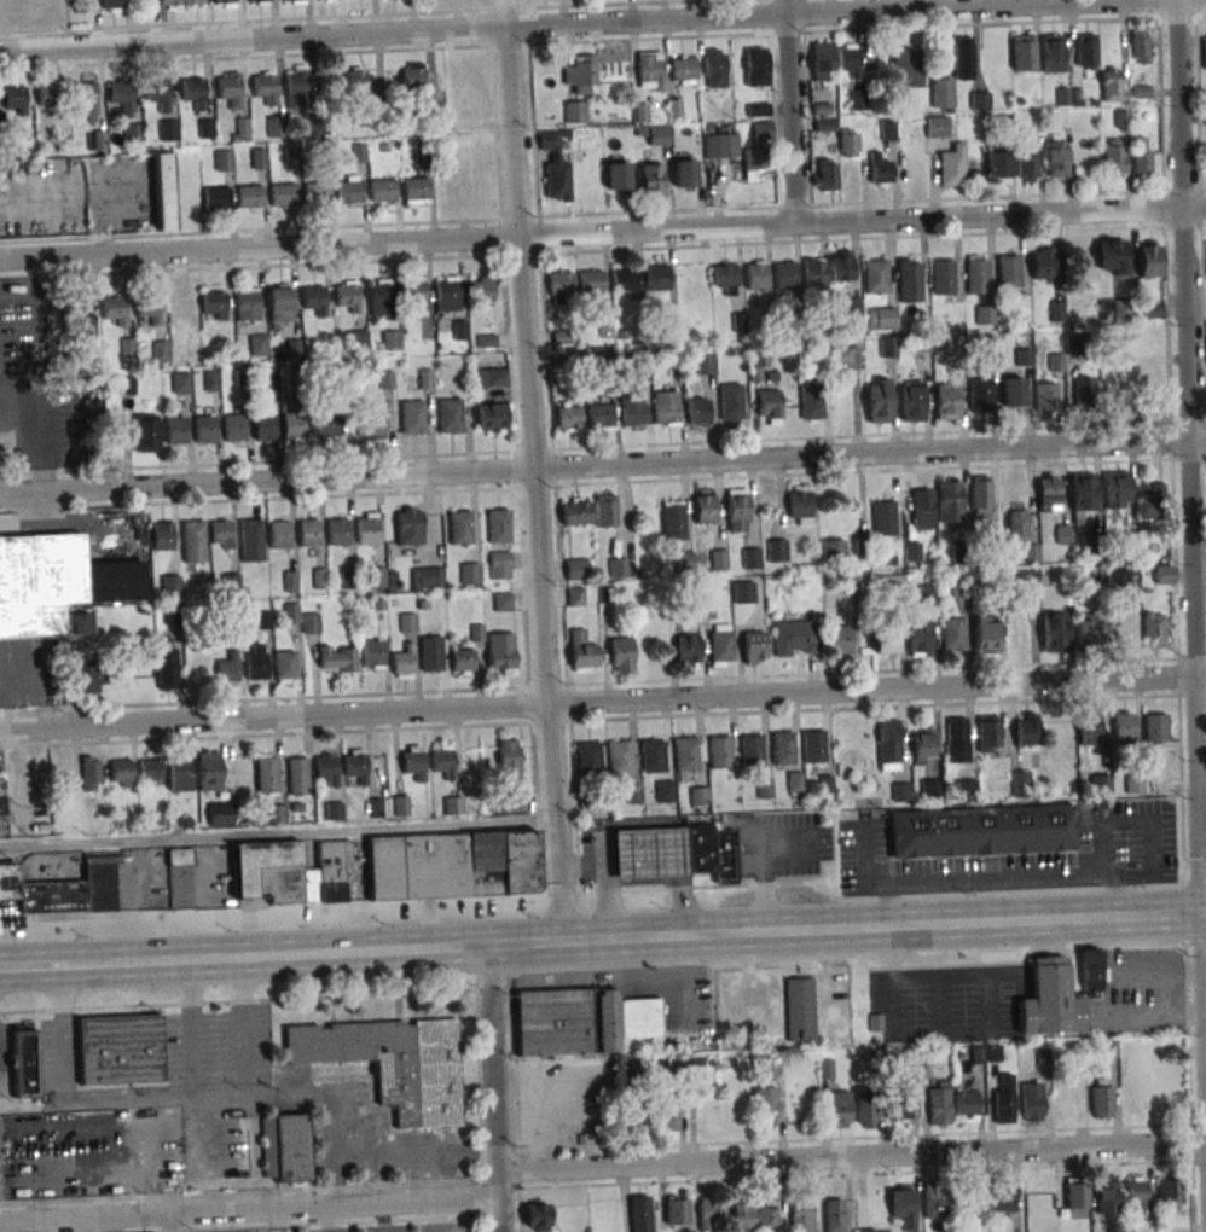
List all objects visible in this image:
building: (193, 2)
building: (224, 2)
building: (257, 2)
building: (292, 2)
building: (111, 5)
building: (169, 5)
road: (587, 23)
building: (1140, 46)
building: (1085, 50)
building: (1022, 52)
building: (1204, 52)
building: (1051, 53)
building: (963, 57)
building: (848, 60)
building: (823, 62)
building: (756, 66)
building: (906, 66)
building: (715, 68)
building: (684, 69)
building: (650, 70)
building: (581, 74)
building: (413, 76)
building: (1113, 77)
building: (358, 80)
building: (265, 86)
building: (230, 87)
building: (296, 88)
building: (193, 91)
building: (941, 92)
building: (157, 93)
building: (47, 95)
building: (122, 95)
building: (470, 95)
building: (87, 97)
building: (15, 99)
building: (857, 99)
building: (980, 99)
road: (790, 110)
building: (574, 111)
building: (274, 126)
building: (937, 126)
building: (205, 128)
building: (167, 129)
building: (239, 129)
building: (132, 133)
building: (659, 135)
building: (97, 139)
building: (848, 143)
building: (721, 146)
building: (1140, 153)
building: (1055, 155)
building: (1113, 157)
building: (222, 161)
building: (952, 165)
building: (1027, 165)
building: (997, 167)
building: (555, 168)
building: (880, 169)
building: (684, 170)
building: (618, 173)
building: (824, 174)
building: (651, 179)
building: (349, 190)
building: (383, 190)
building: (162, 191)
building: (416, 191)
building: (317, 193)
building: (249, 196)
building: (283, 196)
building: (215, 197)
road: (602, 232)
building: (1111, 256)
building: (1149, 258)
building: (1042, 262)
building: (841, 265)
building: (1008, 271)
building: (814, 273)
building: (787, 274)
building: (976, 274)
building: (756, 275)
building: (876, 275)
building: (656, 277)
building: (943, 277)
building: (726, 278)
building: (625, 279)
building: (909, 279)
building: (592, 283)
building: (561, 284)
building: (481, 289)
building: (414, 294)
building: (348, 295)
building: (447, 295)
building: (315, 298)
building: (379, 298)
building: (280, 303)
building: (180, 304)
building: (214, 304)
building: (247, 304)
building: (852, 306)
building: (147, 308)
building: (115, 309)
building: (1148, 309)
building: (1119, 310)
building: (984, 314)
building: (85, 318)
building: (882, 318)
building: (257, 344)
building: (888, 347)
building: (161, 350)
building: (845, 358)
building: (759, 359)
building: (707, 364)
building: (493, 377)
building: (267, 379)
building: (211, 380)
building: (180, 382)
building: (127, 385)
building: (1011, 391)
building: (1083, 391)
building: (980, 394)
building: (1045, 396)
building: (879, 400)
building: (911, 401)
building: (946, 401)
building: (730, 402)
building: (812, 402)
building: (769, 406)
building: (667, 407)
building: (633, 411)
building: (697, 411)
building: (450, 415)
building: (569, 415)
building: (599, 415)
building: (412, 417)
building: (491, 417)
building: (292, 425)
building: (370, 425)
building: (263, 426)
building: (324, 426)
building: (205, 428)
building: (234, 428)
building: (176, 430)
building: (145, 431)
road: (30, 440)
road: (602, 463)
road: (537, 470)
building: (1117, 489)
building: (1048, 492)
building: (980, 496)
building: (1082, 496)
building: (949, 500)
building: (1150, 501)
building: (800, 505)
building: (705, 507)
building: (922, 507)
building: (574, 510)
building: (604, 510)
building: (737, 510)
road: (1190, 510)
building: (883, 517)
building: (673, 519)
building: (408, 525)
building: (498, 525)
building: (367, 528)
building: (459, 528)
building: (337, 531)
building: (308, 533)
building: (221, 534)
building: (279, 534)
building: (162, 535)
building: (1021, 535)
building: (251, 540)
building: (193, 541)
building: (777, 550)
building: (833, 551)
building: (750, 558)
building: (684, 560)
building: (718, 560)
building: (499, 565)
building: (616, 568)
building: (575, 569)
building: (469, 573)
building: (1164, 574)
building: (320, 579)
building: (427, 579)
building: (1021, 579)
building: (1115, 579)
building: (888, 582)
building: (230, 583)
building: (59, 585)
building: (170, 586)
building: (961, 588)
building: (927, 592)
building: (575, 595)
building: (503, 602)
building: (290, 610)
building: (407, 622)
building: (309, 624)
building: (1153, 629)
building: (1085, 630)
building: (1054, 632)
building: (953, 633)
building: (986, 634)
building: (918, 637)
building: (795, 638)
building: (840, 640)
building: (883, 640)
building: (720, 645)
building: (753, 647)
building: (686, 650)
building: (582, 652)
building: (372, 653)
building: (430, 653)
building: (500, 653)
building: (621, 653)
building: (337, 658)
building: (462, 661)
building: (255, 662)
building: (404, 662)
building: (228, 667)
building: (285, 667)
building: (167, 668)
building: (91, 679)
road: (602, 702)
road: (1201, 705)
building: (1124, 723)
building: (1156, 727)
building: (1026, 728)
building: (1089, 728)
building: (987, 733)
building: (957, 739)
building: (887, 744)
building: (813, 745)
building: (923, 745)
building: (782, 748)
building: (752, 750)
building: (719, 751)
building: (685, 754)
building: (651, 756)
building: (619, 757)
building: (508, 759)
building: (588, 759)
building: (442, 760)
building: (413, 761)
building: (355, 766)
building: (326, 767)
building: (149, 769)
building: (208, 771)
building: (89, 772)
building: (121, 773)
building: (181, 773)
building: (266, 774)
building: (297, 775)
building: (1020, 783)
building: (1100, 784)
building: (764, 788)
building: (930, 789)
building: (665, 790)
building: (900, 791)
building: (634, 795)
building: (698, 796)
building: (452, 804)
building: (514, 804)
building: (400, 806)
building: (1, 810)
building: (334, 810)
building: (220, 814)
building: (981, 830)
road: (277, 833)
road: (1202, 838)
building: (701, 847)
building: (653, 852)
building: (726, 854)
building: (178, 856)
building: (454, 865)
building: (291, 872)
building: (63, 889)
road: (608, 889)
road: (846, 926)
road: (290, 953)
road: (46, 967)
building: (1056, 995)
building: (799, 1009)
building: (580, 1021)
road: (245, 1028)
road: (190, 1030)
building: (121, 1050)
building: (25, 1062)
building: (393, 1064)
road: (493, 1088)
building: (1101, 1098)
building: (898, 1099)
building: (1003, 1100)
road: (175, 1102)
building: (939, 1102)
building: (1032, 1102)
building: (765, 1105)
building: (966, 1106)
building: (839, 1109)
building: (864, 1110)
building: (638, 1117)
building: (666, 1118)
road: (336, 1125)
building: (284, 1147)
road: (389, 1153)
road: (851, 1155)
building: (1136, 1191)
building: (1171, 1192)
building: (1106, 1193)
building: (1002, 1196)
building: (1075, 1196)
building: (935, 1199)
building: (903, 1205)
road: (249, 1210)
building: (677, 1210)
building: (637, 1214)
building: (708, 1214)
building: (801, 1215)
building: (833, 1215)
building: (537, 1216)
building: (769, 1216)
building: (744, 1218)
road: (30, 1227)
building: (870, 1230)

